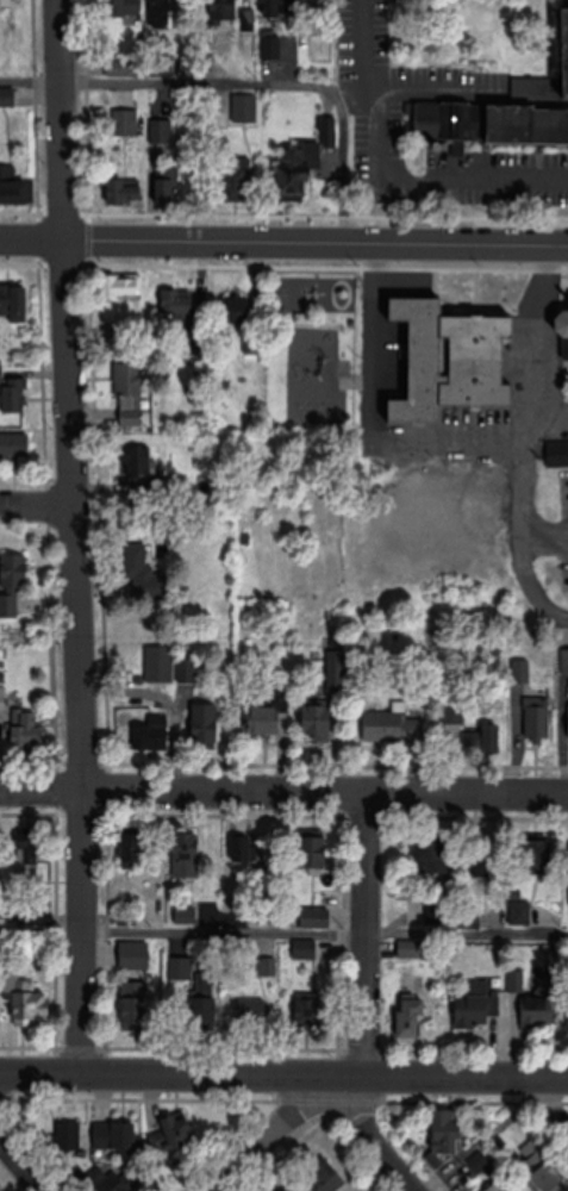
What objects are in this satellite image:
building: (5, 1)
building: (276, 6)
building: (121, 7)
building: (221, 11)
building: (162, 13)
building: (268, 46)
building: (562, 49)
building: (118, 67)
road: (180, 83)
road: (437, 87)
parking lot: (385, 101)
building: (242, 106)
building: (123, 120)
building: (488, 121)
building: (158, 130)
road: (341, 166)
building: (298, 167)
road: (379, 175)
building: (232, 176)
building: (162, 183)
building: (13, 186)
building: (120, 191)
road: (283, 244)
building: (119, 285)
building: (12, 301)
building: (176, 306)
building: (230, 313)
building: (562, 322)
building: (250, 341)
building: (448, 356)
building: (11, 391)
building: (126, 393)
road: (443, 431)
building: (13, 449)
building: (556, 453)
building: (136, 459)
road: (514, 495)
road: (35, 506)
road: (70, 541)
building: (11, 569)
building: (6, 605)
building: (563, 659)
building: (156, 663)
building: (183, 669)
building: (518, 669)
building: (332, 681)
building: (267, 715)
building: (535, 716)
building: (316, 719)
building: (567, 719)
building: (202, 724)
building: (389, 724)
building: (24, 728)
building: (485, 728)
building: (150, 732)
road: (283, 792)
building: (241, 848)
building: (131, 849)
building: (312, 850)
building: (432, 852)
building: (26, 854)
building: (182, 854)
building: (518, 911)
building: (314, 922)
road: (283, 933)
road: (363, 940)
building: (413, 949)
building: (302, 952)
building: (260, 966)
building: (177, 968)
building: (533, 998)
building: (205, 1003)
building: (29, 1005)
building: (132, 1011)
building: (304, 1011)
building: (473, 1011)
building: (410, 1016)
building: (250, 1018)
road: (283, 1086)
building: (445, 1134)
building: (112, 1135)
building: (171, 1135)
building: (65, 1136)
road: (271, 1139)
road: (375, 1139)
road: (6, 1166)
road: (19, 1168)
building: (548, 1178)
building: (111, 1179)
building: (325, 1179)
building: (289, 1189)
building: (491, 1190)
building: (506, 1190)

